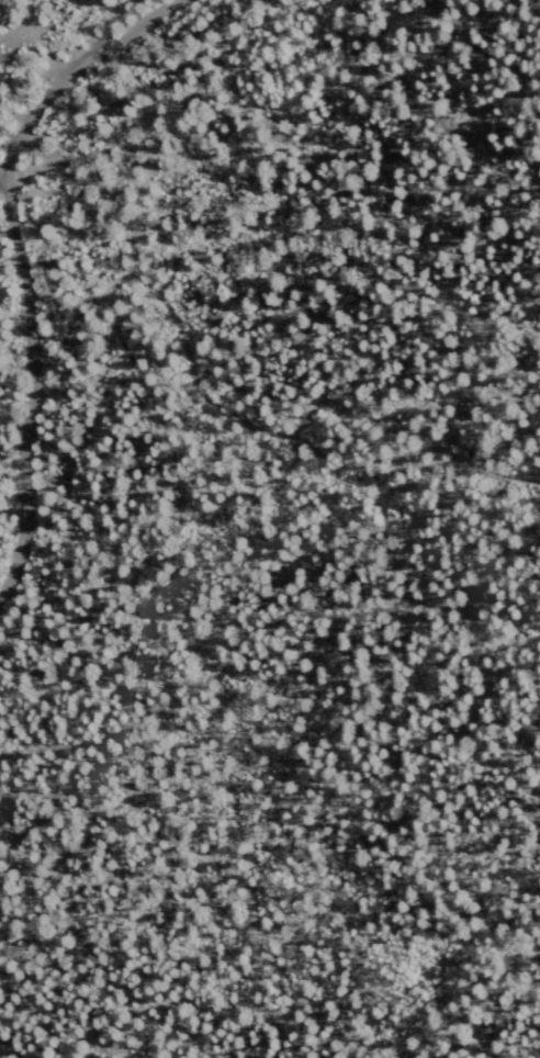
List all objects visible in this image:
road: (42, 59)

